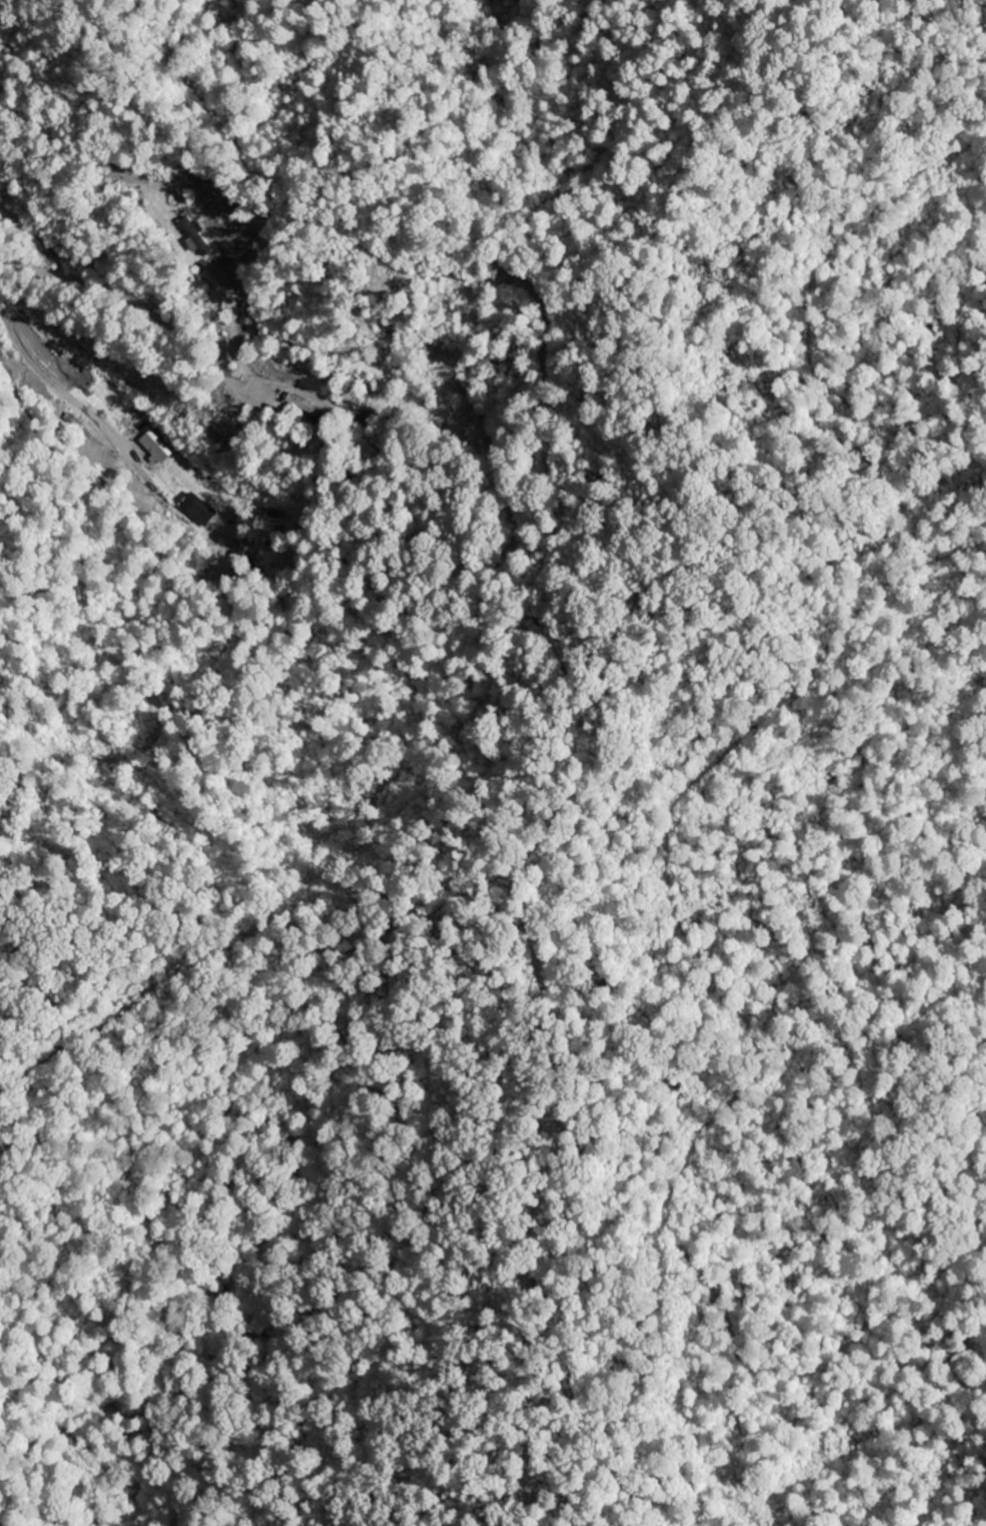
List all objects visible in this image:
building: (193, 237)
road: (59, 388)
building: (154, 448)
building: (196, 510)

